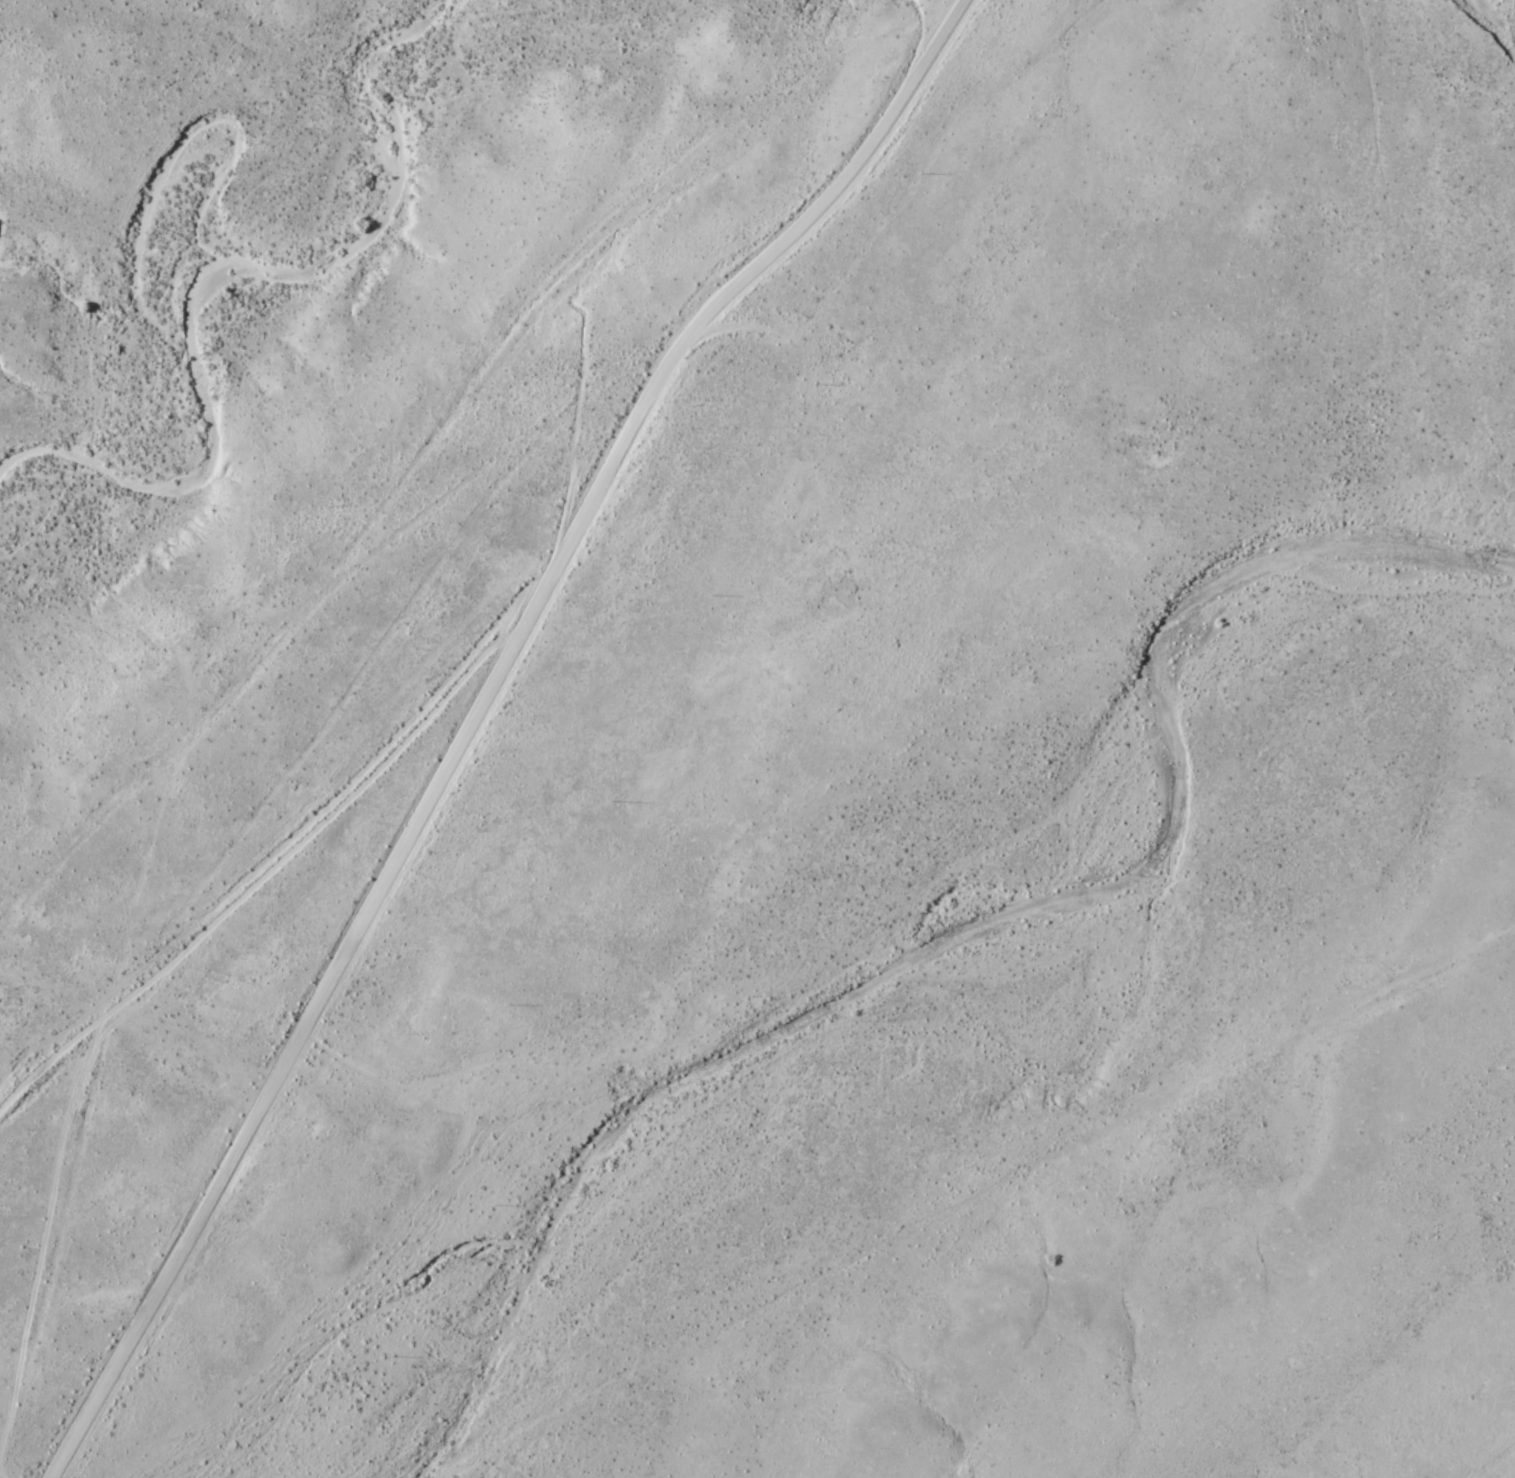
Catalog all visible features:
river: (1514, 0)
road: (828, 186)
road: (530, 188)
road: (324, 718)
road: (362, 767)
road: (361, 918)
river: (961, 960)

